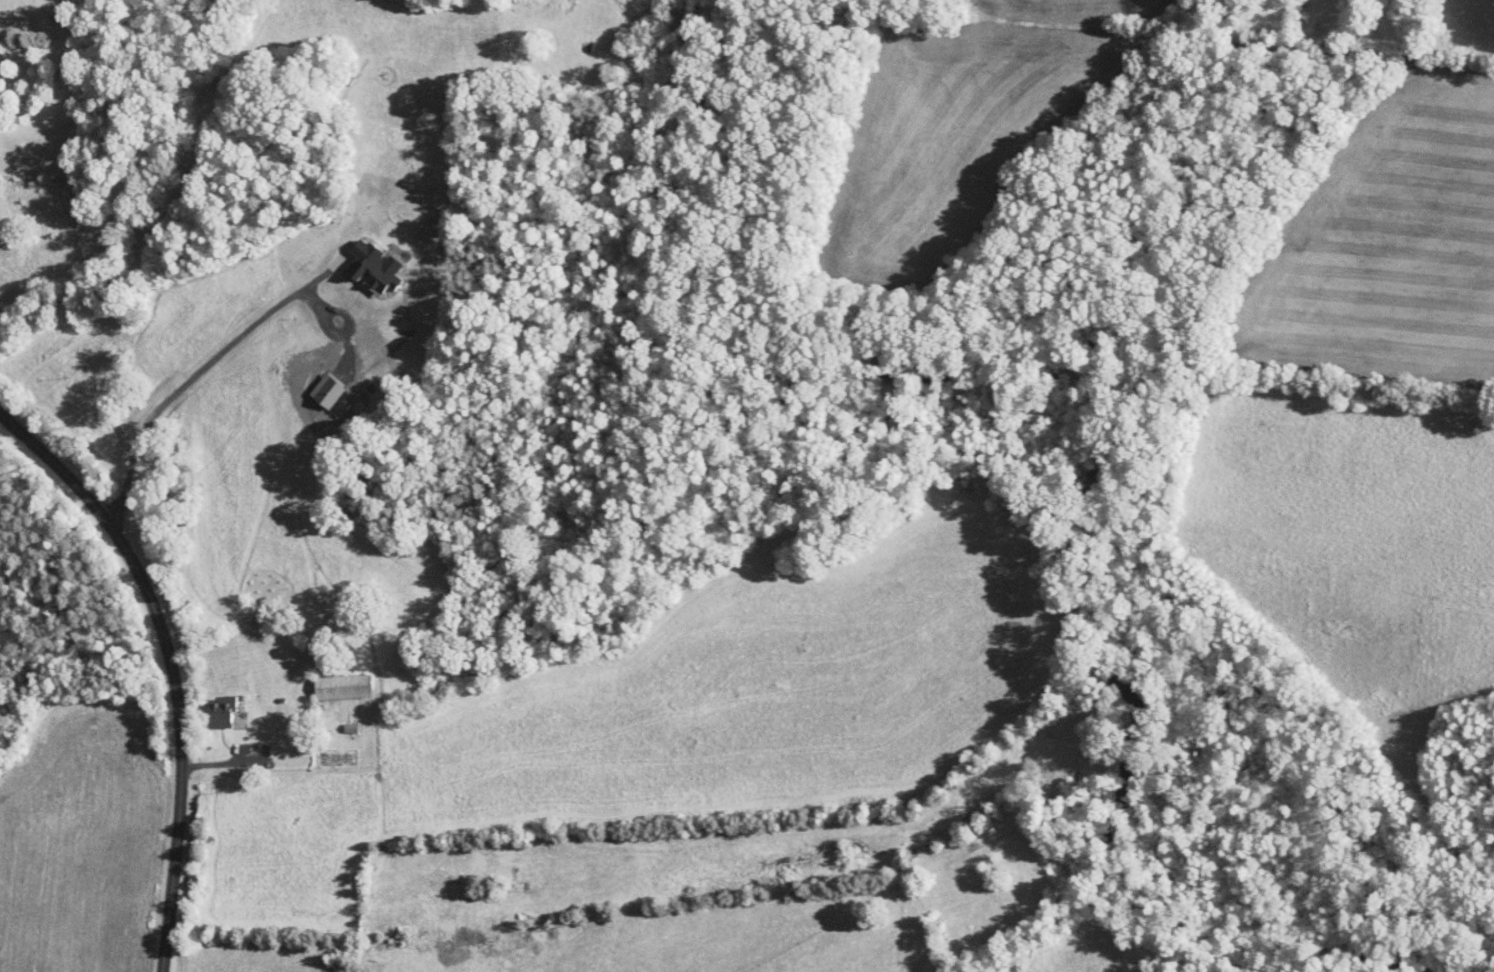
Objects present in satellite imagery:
building: (359, 260)
road: (172, 379)
road: (170, 665)
building: (328, 681)
building: (208, 706)
road: (272, 755)

